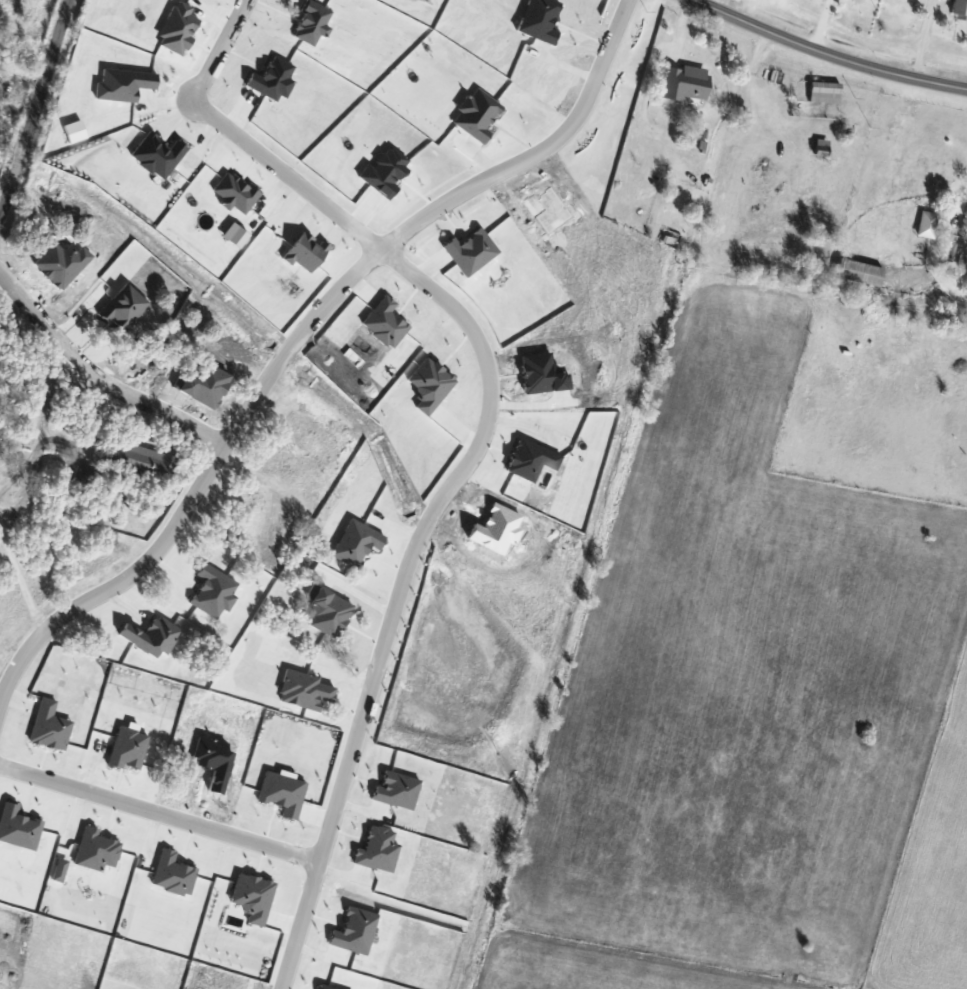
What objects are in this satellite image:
building: (961, 9)
road: (214, 48)
road: (830, 53)
building: (688, 83)
road: (391, 105)
road: (39, 113)
road: (959, 207)
building: (930, 225)
building: (965, 228)
building: (863, 273)
road: (294, 339)
road: (95, 375)
building: (8, 433)
building: (143, 459)
road: (447, 486)
building: (309, 564)
road: (158, 812)

